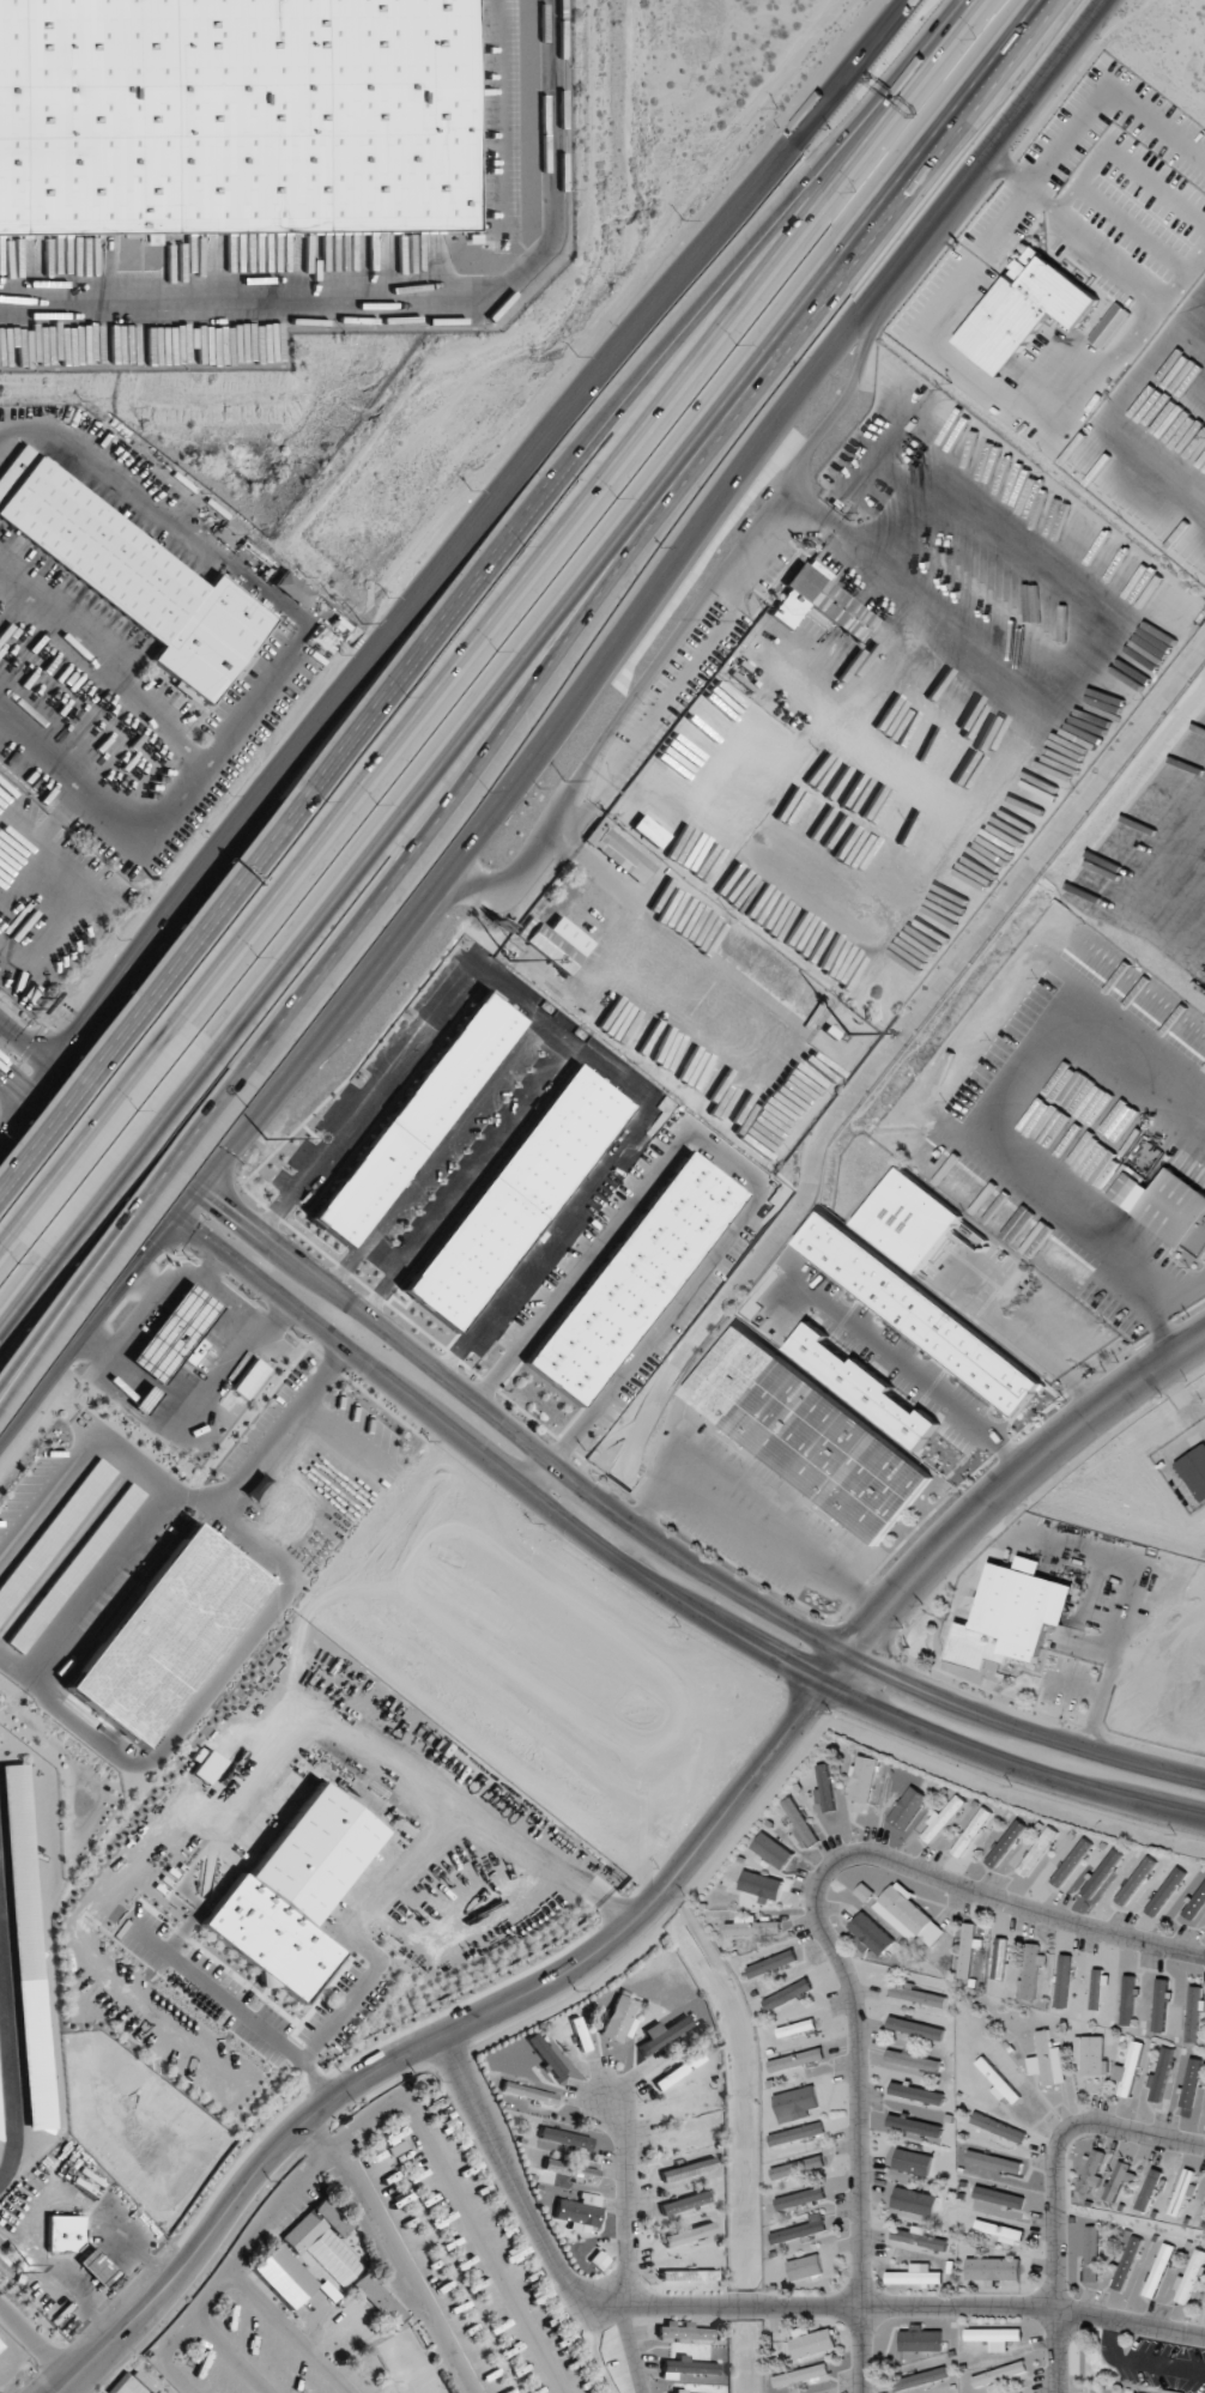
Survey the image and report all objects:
road: (1103, 84)
building: (236, 115)
road: (1121, 164)
road: (1023, 183)
road: (1137, 275)
road: (672, 284)
building: (1024, 310)
road: (865, 320)
road: (926, 328)
road: (576, 516)
road: (532, 525)
road: (630, 531)
road: (659, 540)
building: (139, 581)
building: (293, 588)
building: (819, 601)
road: (679, 640)
road: (249, 819)
building: (649, 831)
building: (619, 852)
building: (558, 944)
road: (313, 1037)
traffic signals: (80, 1038)
road: (28, 1047)
traffic signals: (75, 1088)
road: (149, 1089)
road: (73, 1096)
road: (28, 1108)
road: (102, 1135)
road: (135, 1162)
traffic signals: (149, 1194)
traffic signals: (225, 1206)
road: (91, 1208)
building: (1167, 1208)
building: (908, 1219)
road: (119, 1226)
traffic signals: (155, 1246)
road: (11, 1250)
building: (635, 1279)
road: (28, 1296)
building: (921, 1313)
building: (172, 1333)
road: (1030, 1347)
building: (249, 1379)
road: (910, 1380)
building: (860, 1386)
building: (807, 1435)
building: (1194, 1471)
road: (537, 1476)
road: (1015, 1480)
road: (591, 1492)
road: (559, 1519)
road: (752, 1522)
building: (53, 1532)
building: (73, 1568)
building: (1011, 1616)
building: (163, 1632)
road: (395, 1763)
building: (206, 1767)
building: (862, 1779)
building: (824, 1787)
building: (908, 1807)
building: (943, 1818)
building: (800, 1821)
building: (971, 1831)
building: (1005, 1843)
building: (771, 1850)
building: (1037, 1850)
building: (1071, 1862)
building: (1101, 1873)
building: (1136, 1880)
building: (761, 1885)
building: (291, 1891)
building: (1165, 1891)
building: (1194, 1904)
building: (908, 1915)
building: (752, 1926)
road: (823, 1926)
building: (871, 1933)
building: (28, 1946)
building: (967, 1951)
building: (999, 1958)
building: (773, 1963)
building: (1031, 1970)
building: (1062, 1980)
building: (1096, 1988)
building: (788, 1994)
building: (918, 1995)
building: (1127, 1999)
building: (1159, 2005)
road: (235, 2006)
building: (1193, 2013)
building: (619, 2019)
road: (461, 2027)
building: (915, 2028)
building: (664, 2035)
building: (544, 2054)
building: (1089, 2054)
building: (795, 2059)
building: (913, 2060)
building: (1047, 2060)
building: (1128, 2068)
building: (678, 2070)
building: (1159, 2074)
building: (999, 2082)
building: (1189, 2086)
building: (797, 2103)
road: (373, 2116)
building: (914, 2126)
building: (998, 2127)
building: (798, 2133)
building: (558, 2135)
building: (913, 2162)
building: (994, 2162)
building: (798, 2167)
building: (570, 2169)
building: (688, 2169)
building: (1094, 2173)
building: (1121, 2179)
road: (1049, 2186)
building: (1151, 2189)
building: (998, 2197)
building: (800, 2198)
building: (914, 2201)
building: (683, 2203)
building: (579, 2210)
building: (1204, 2216)
building: (800, 2229)
building: (1001, 2231)
building: (65, 2233)
building: (689, 2234)
building: (919, 2237)
building: (1090, 2238)
building: (323, 2240)
road: (623, 2244)
road: (392, 2254)
building: (1126, 2262)
building: (97, 2267)
building: (805, 2267)
building: (993, 2268)
building: (1157, 2270)
building: (689, 2274)
building: (283, 2276)
building: (1188, 2277)
building: (914, 2278)
building: (377, 2298)
road: (741, 2312)
building: (683, 2331)
road: (286, 2332)
building: (994, 2337)
building: (920, 2339)
building: (811, 2340)
building: (0, 2346)
road: (229, 2355)
road: (1142, 2364)
building: (686, 2367)
building: (999, 2374)
building: (800, 2375)
building: (920, 2379)
building: (1170, 2392)

